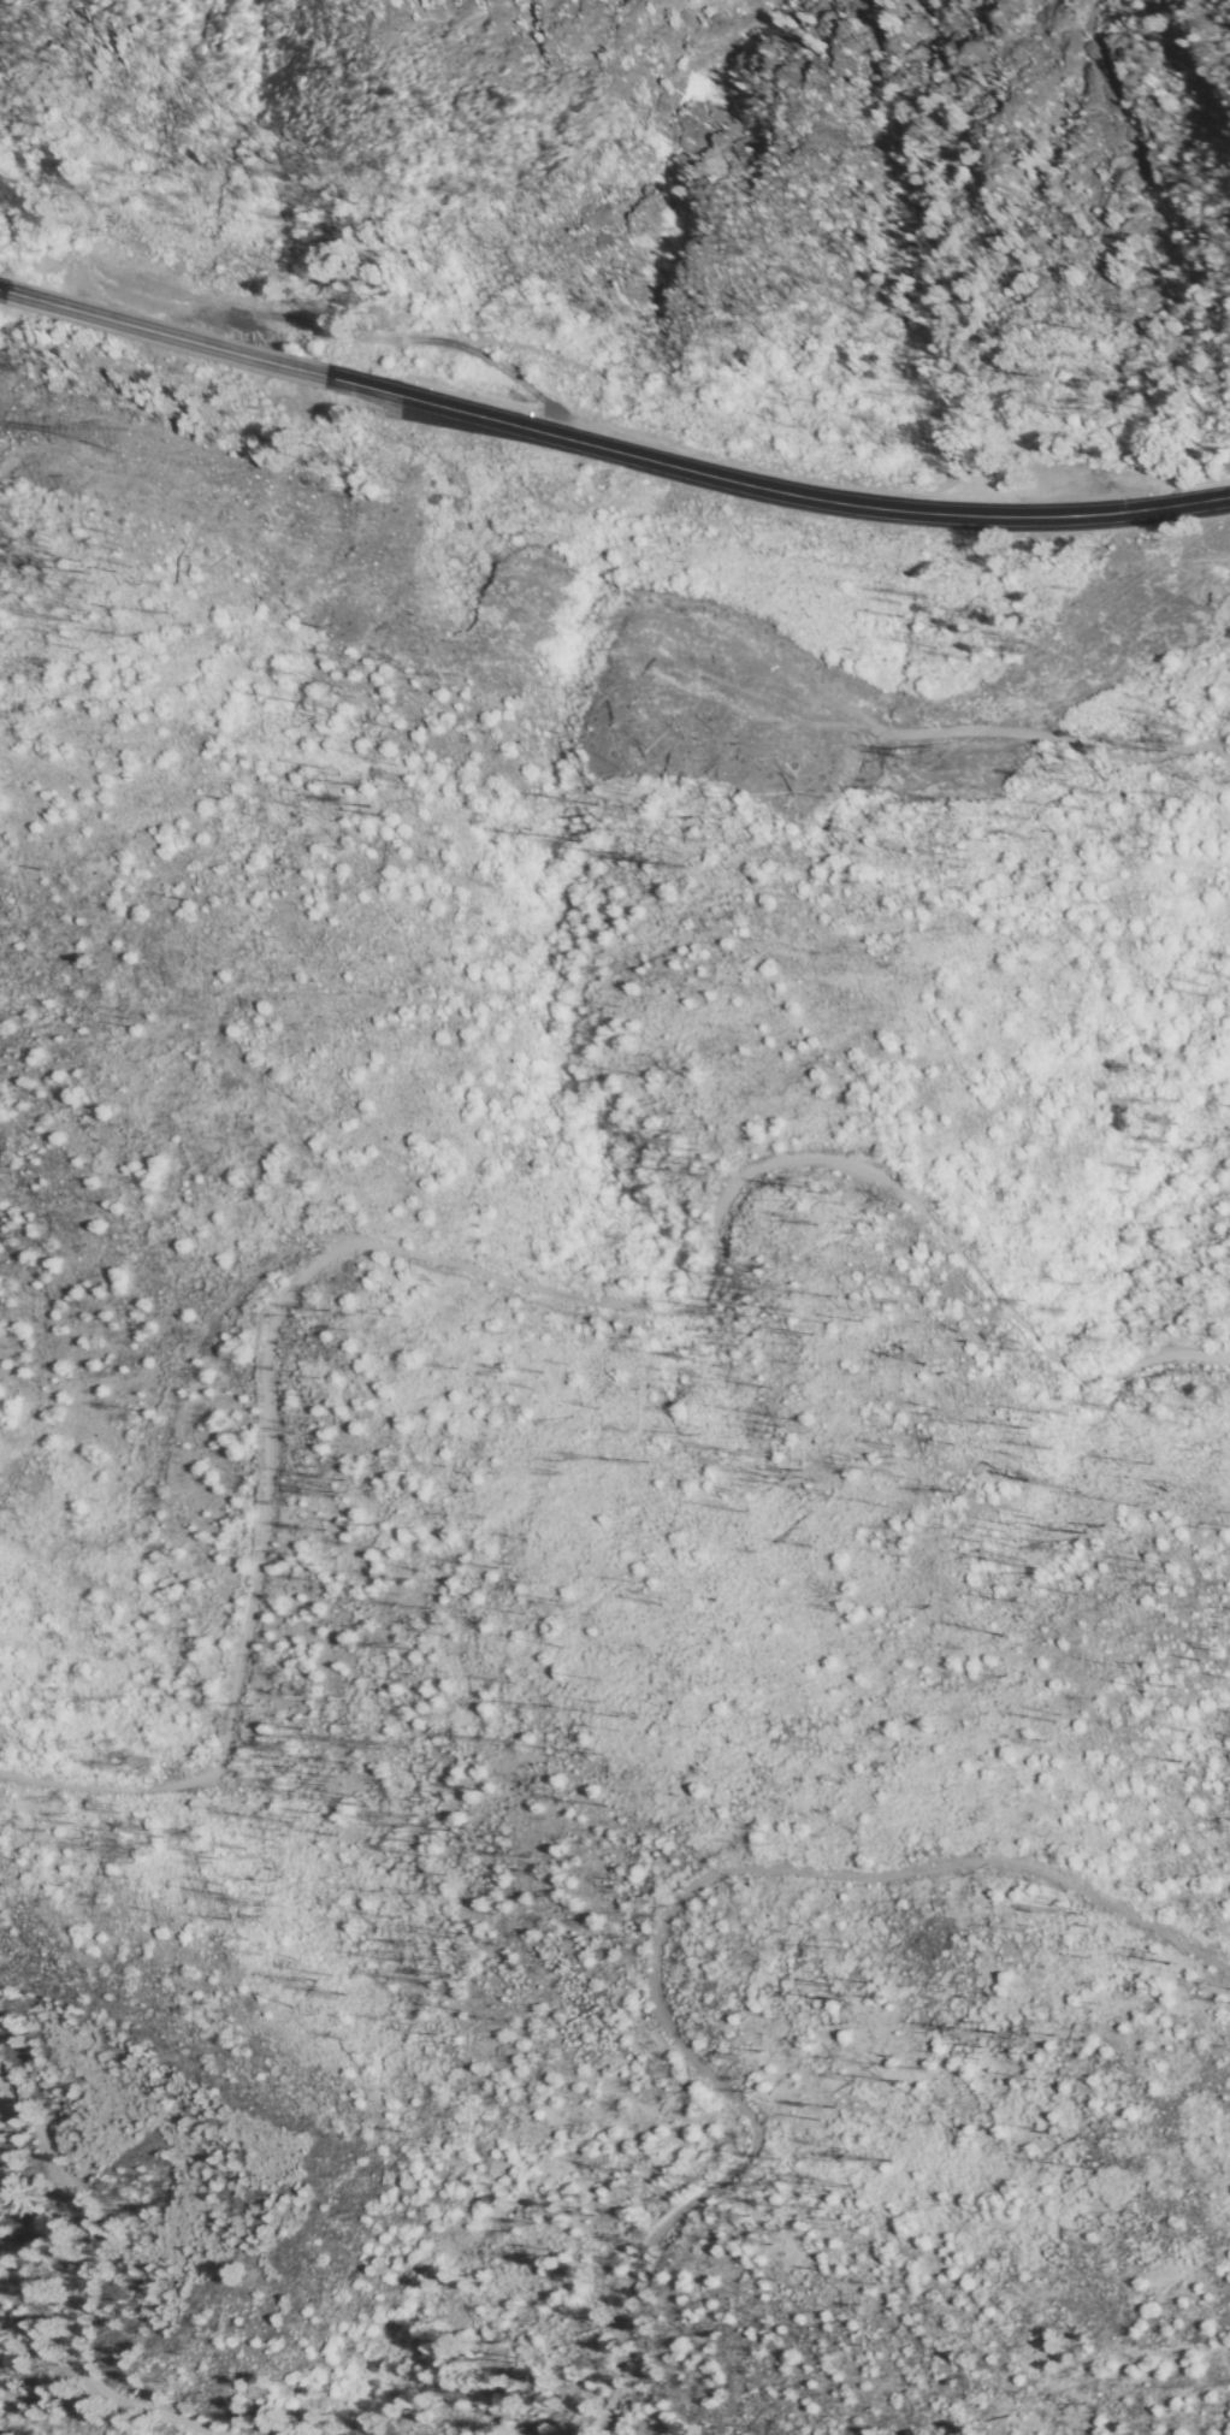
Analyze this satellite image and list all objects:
power tower: (135, 444)
road: (607, 468)
power tower: (940, 758)
road: (468, 1273)
road: (76, 2293)

